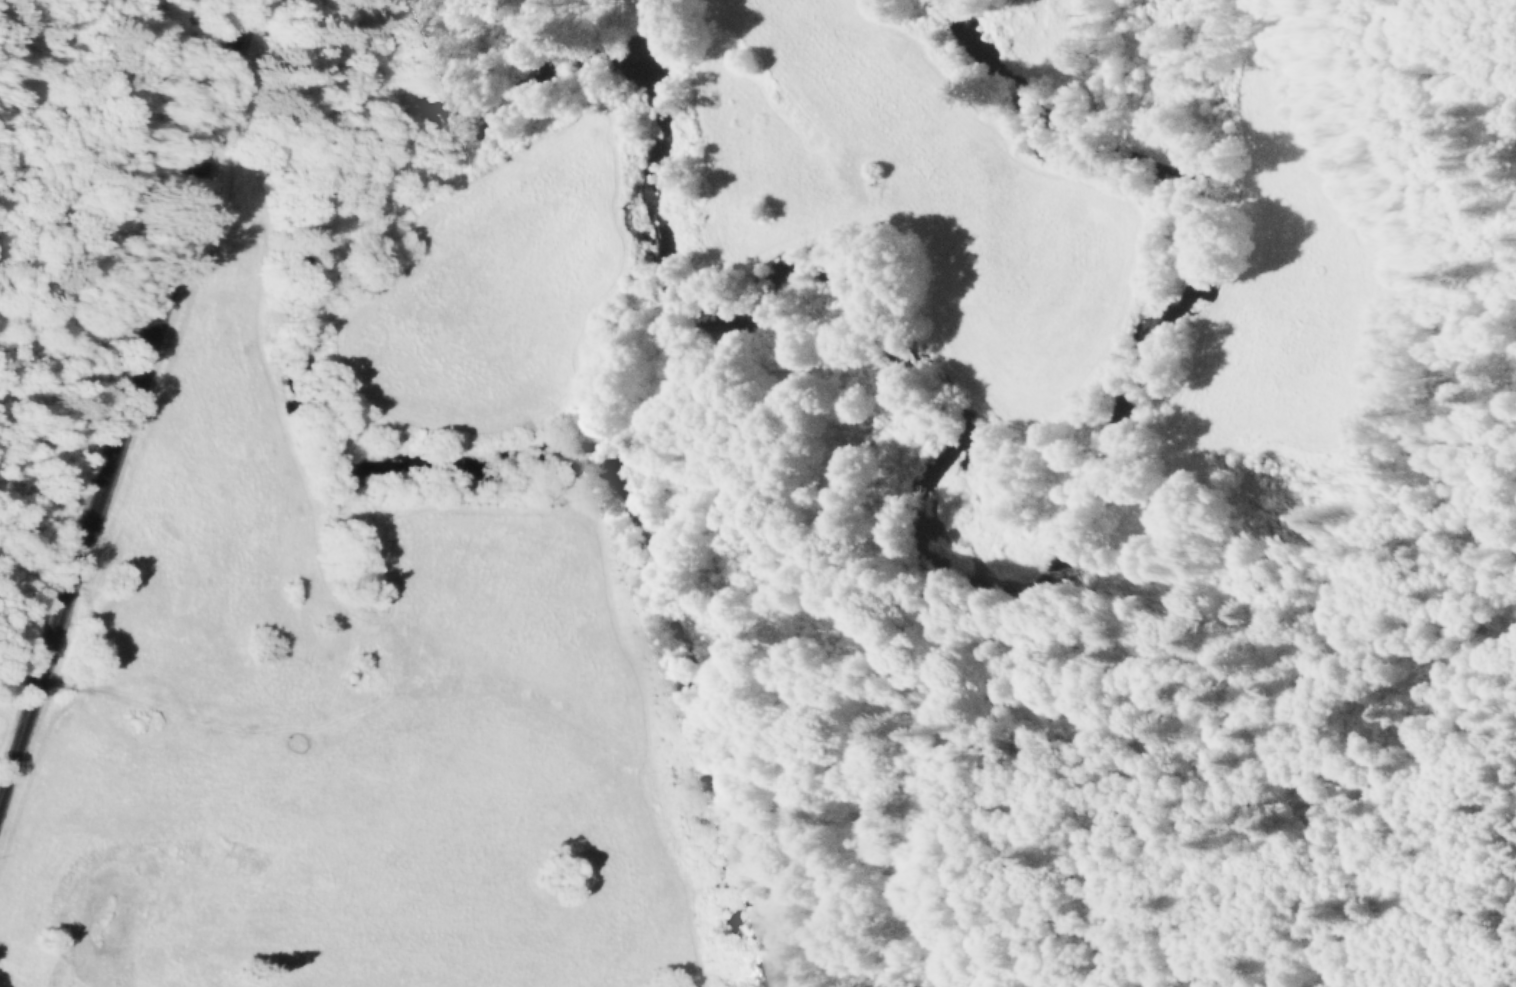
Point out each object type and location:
road: (134, 398)

